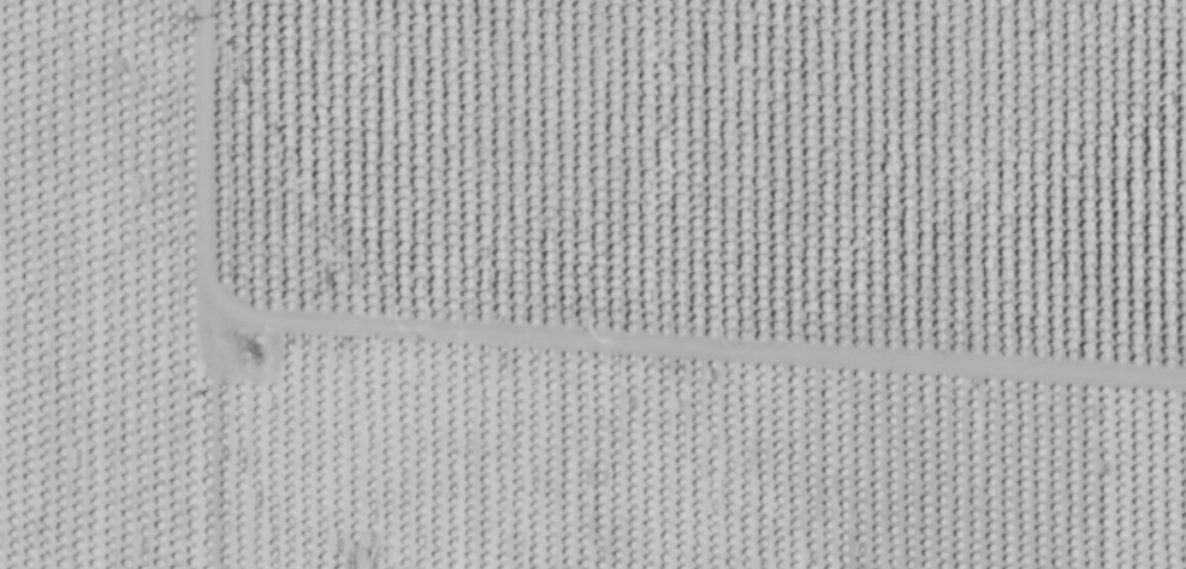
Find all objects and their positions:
crop: (599, 272)

